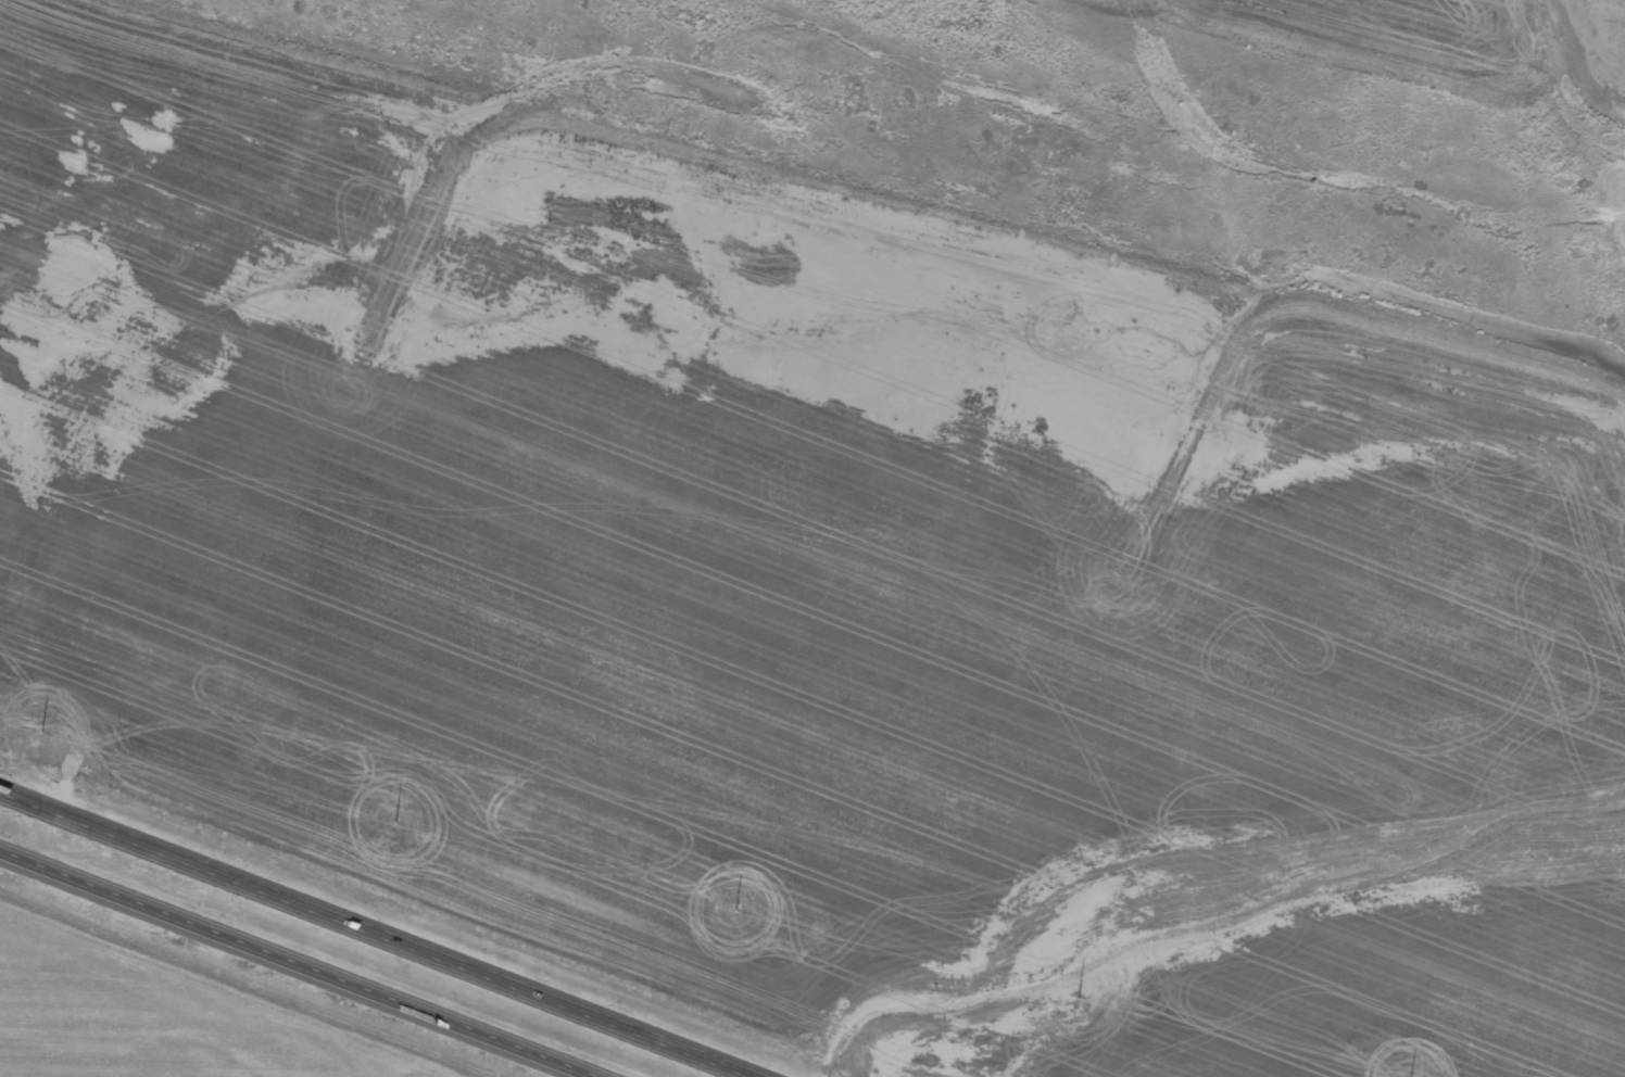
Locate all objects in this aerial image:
power tower: (47, 738)
power tower: (389, 827)
power tower: (730, 914)
road: (373, 934)
road: (285, 968)
power tower: (1072, 1000)

